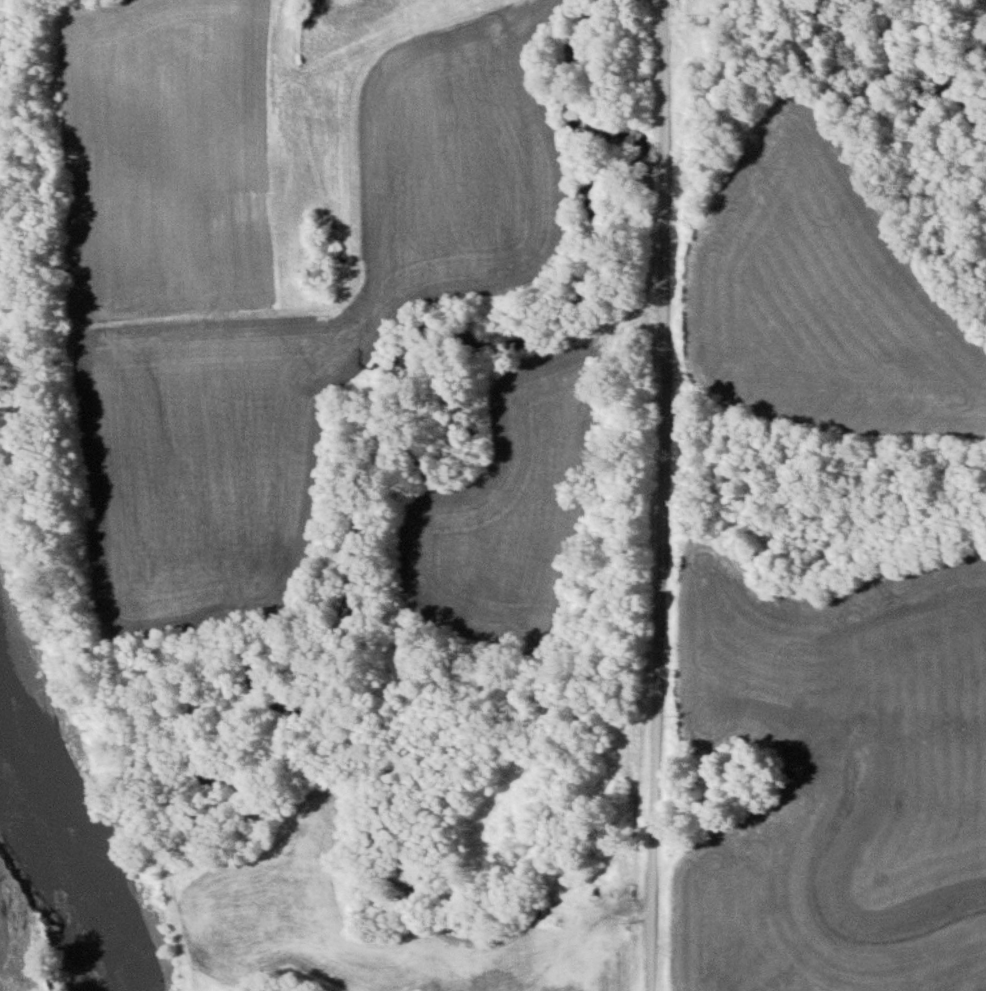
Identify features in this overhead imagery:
road: (645, 495)
river: (69, 812)

